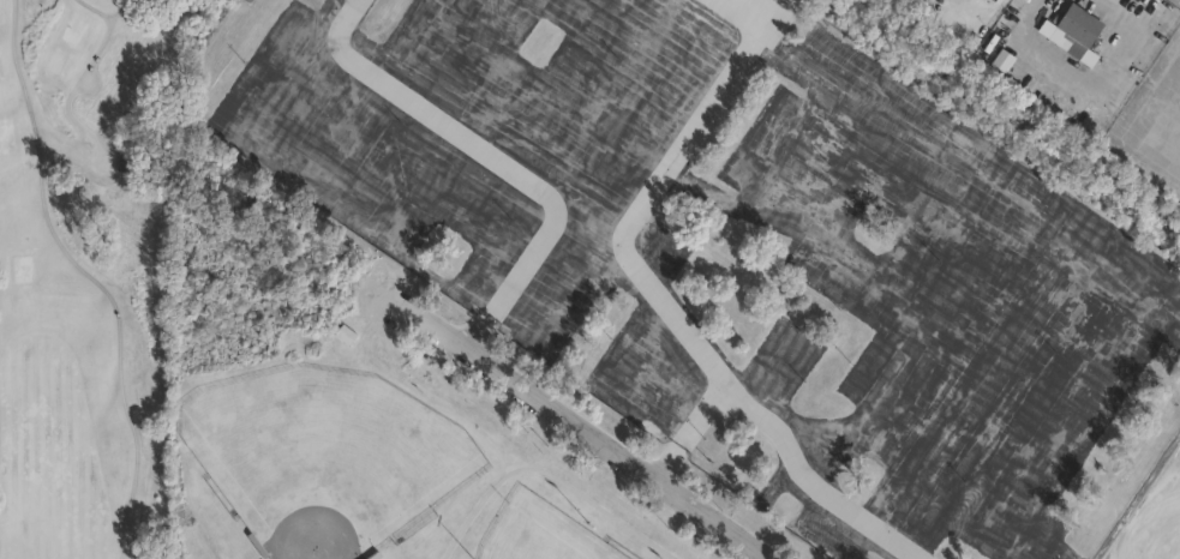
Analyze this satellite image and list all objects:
building: (995, 0)
road: (1126, 11)
road: (972, 16)
building: (1080, 29)
road: (1079, 86)
park: (83, 291)
road: (403, 294)
building: (343, 332)
park: (365, 441)
park: (329, 449)
road: (622, 462)
road: (551, 467)
park: (540, 531)

